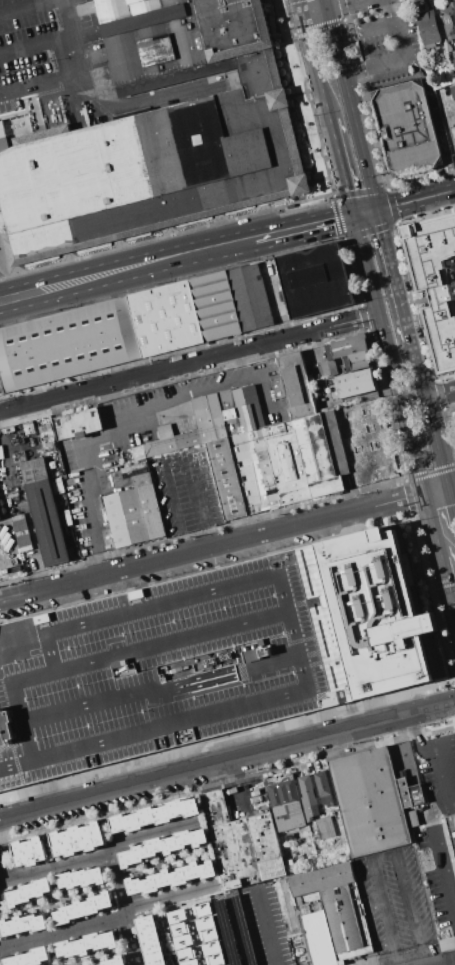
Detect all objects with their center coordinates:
road: (325, 5)
road: (346, 5)
road: (30, 7)
road: (301, 8)
road: (315, 13)
building: (448, 19)
building: (428, 28)
road: (378, 29)
road: (399, 40)
road: (34, 45)
parking lot: (41, 48)
parking lot: (387, 48)
building: (453, 63)
road: (373, 64)
road: (316, 68)
building: (445, 77)
road: (39, 83)
road: (386, 84)
building: (452, 92)
road: (102, 108)
road: (352, 109)
parking lot: (1, 116)
road: (436, 118)
road: (447, 125)
building: (406, 128)
building: (453, 132)
building: (157, 135)
road: (342, 167)
road: (416, 199)
traffic signals: (378, 210)
road: (366, 213)
traffic signals: (354, 216)
road: (307, 226)
parking lot: (1, 253)
road: (130, 267)
road: (393, 274)
building: (313, 280)
building: (436, 282)
building: (249, 296)
building: (214, 305)
building: (164, 318)
road: (295, 334)
building: (66, 343)
building: (349, 351)
road: (389, 353)
road: (240, 363)
road: (105, 383)
building: (349, 383)
road: (439, 395)
road: (178, 402)
road: (428, 411)
building: (78, 423)
building: (263, 445)
building: (138, 453)
road: (174, 456)
road: (435, 488)
parking lot: (184, 490)
road: (453, 498)
road: (451, 500)
building: (44, 511)
building: (133, 512)
road: (432, 524)
road: (91, 526)
road: (212, 547)
road: (445, 577)
road: (453, 596)
road: (453, 604)
building: (209, 655)
parking lot: (167, 666)
road: (433, 705)
road: (205, 765)
building: (284, 801)
building: (372, 801)
building: (317, 802)
road: (450, 803)
building: (154, 815)
road: (440, 815)
road: (0, 827)
parking lot: (437, 829)
road: (151, 834)
building: (77, 839)
building: (242, 844)
building: (163, 847)
building: (29, 851)
road: (384, 854)
road: (54, 866)
building: (171, 877)
building: (81, 879)
building: (29, 893)
road: (171, 896)
parking lot: (393, 901)
building: (82, 907)
road: (123, 907)
building: (201, 910)
building: (331, 914)
building: (176, 915)
building: (204, 923)
road: (454, 923)
building: (22, 924)
building: (178, 928)
building: (233, 931)
road: (63, 934)
building: (208, 935)
building: (150, 940)
building: (182, 941)
building: (86, 945)
building: (211, 947)
building: (186, 953)
building: (29, 957)
building: (213, 959)
building: (113, 961)
building: (189, 962)

